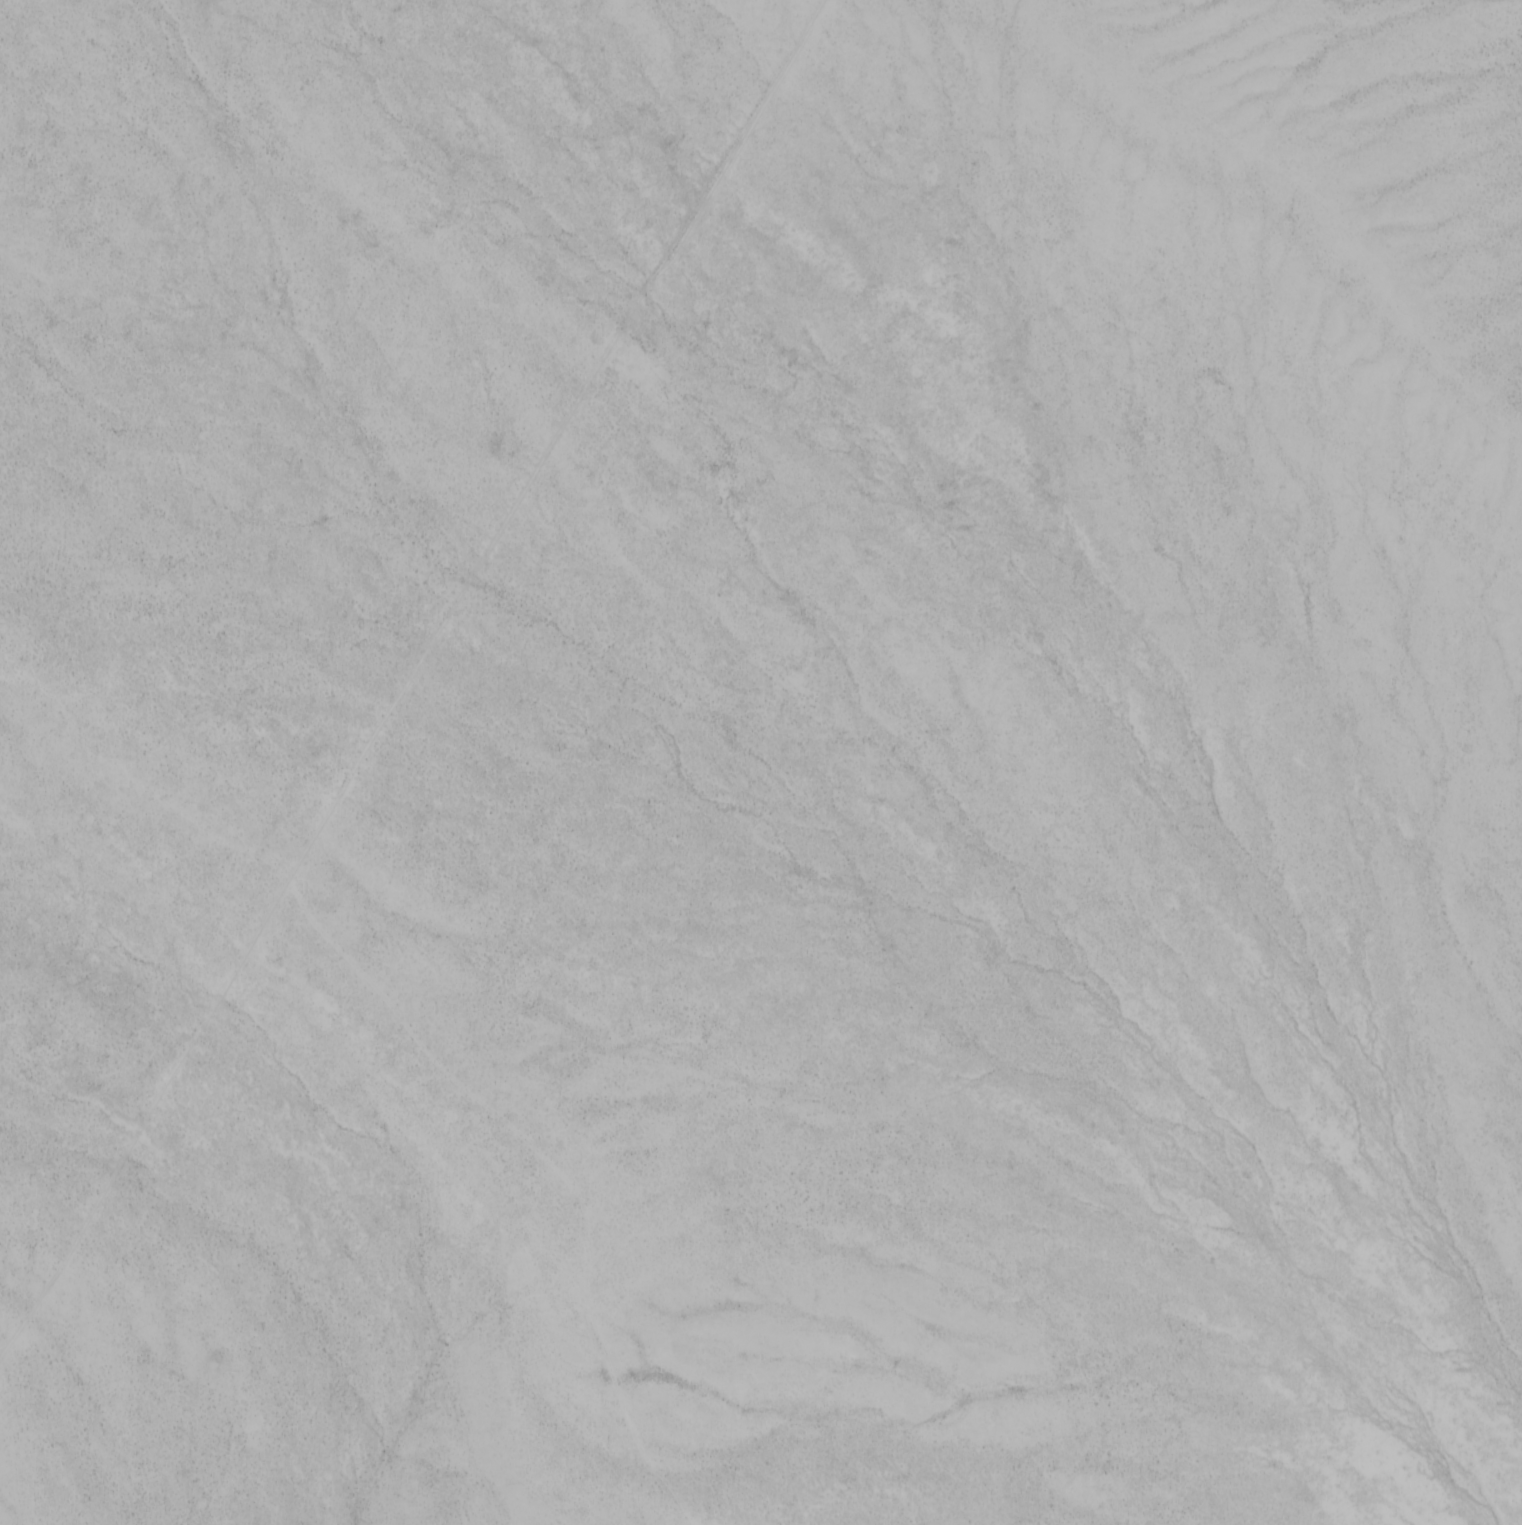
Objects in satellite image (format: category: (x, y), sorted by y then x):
road: (402, 659)
road: (521, 1181)

